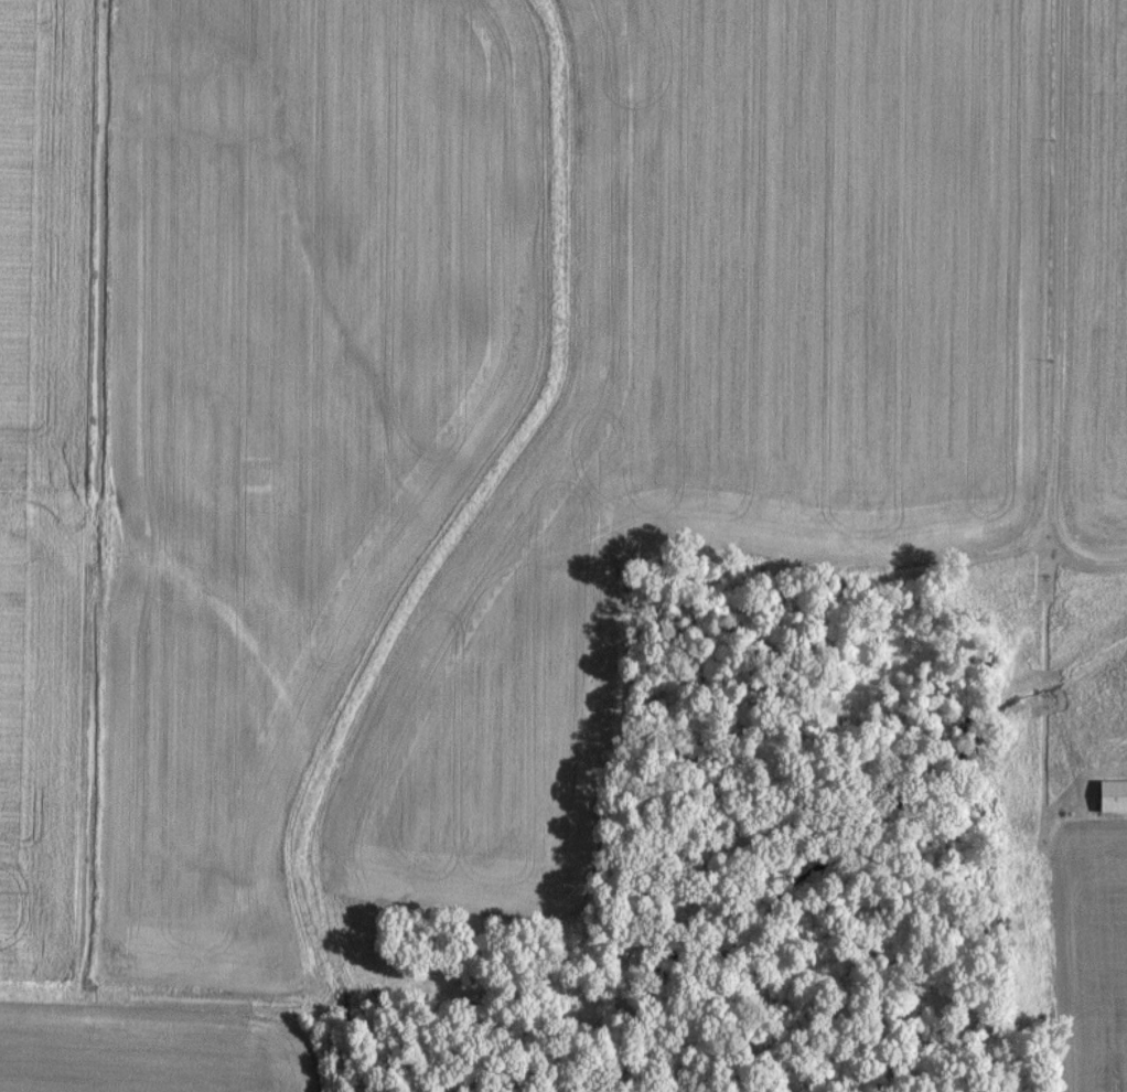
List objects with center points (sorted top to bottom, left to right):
road: (1061, 304)
building: (1110, 795)

